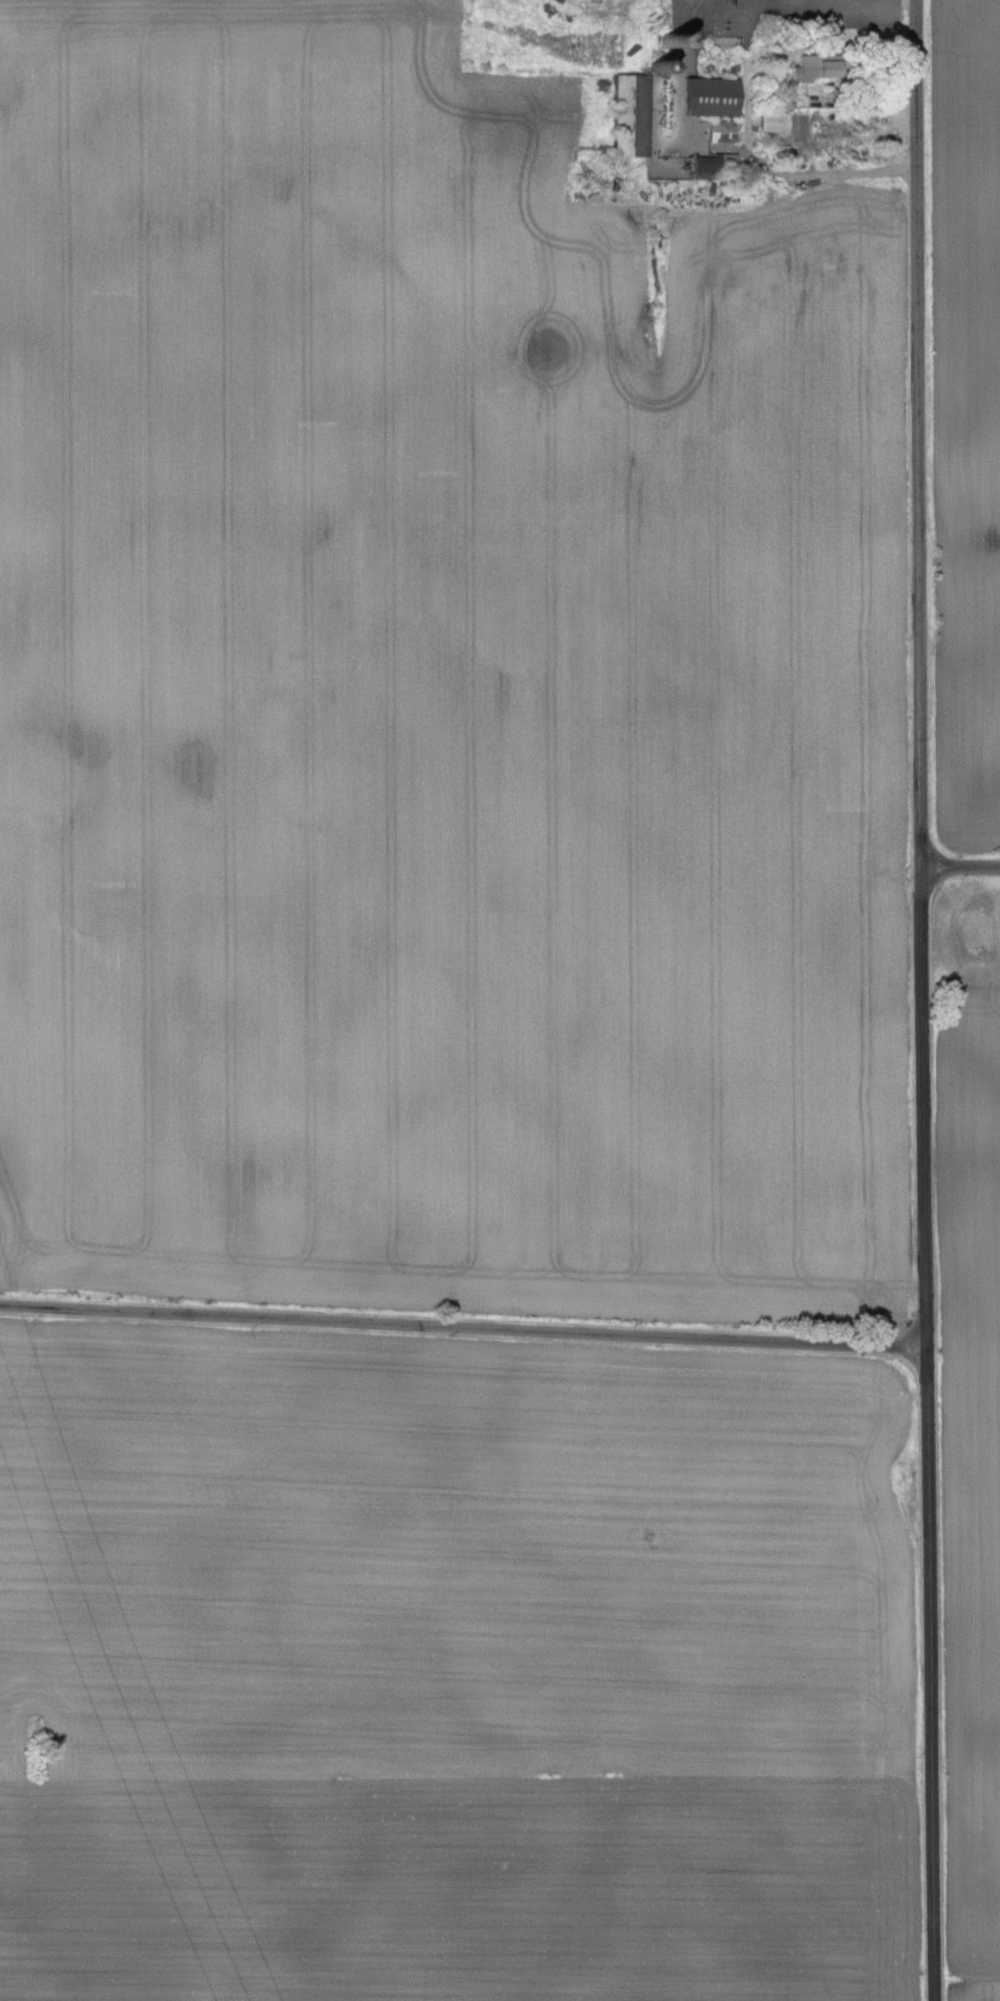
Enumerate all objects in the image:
building: (606, 11)
building: (816, 74)
building: (710, 97)
building: (636, 112)
building: (773, 122)
building: (722, 132)
building: (714, 164)
road: (919, 434)
road: (961, 868)
road: (464, 1326)
road: (930, 1434)

